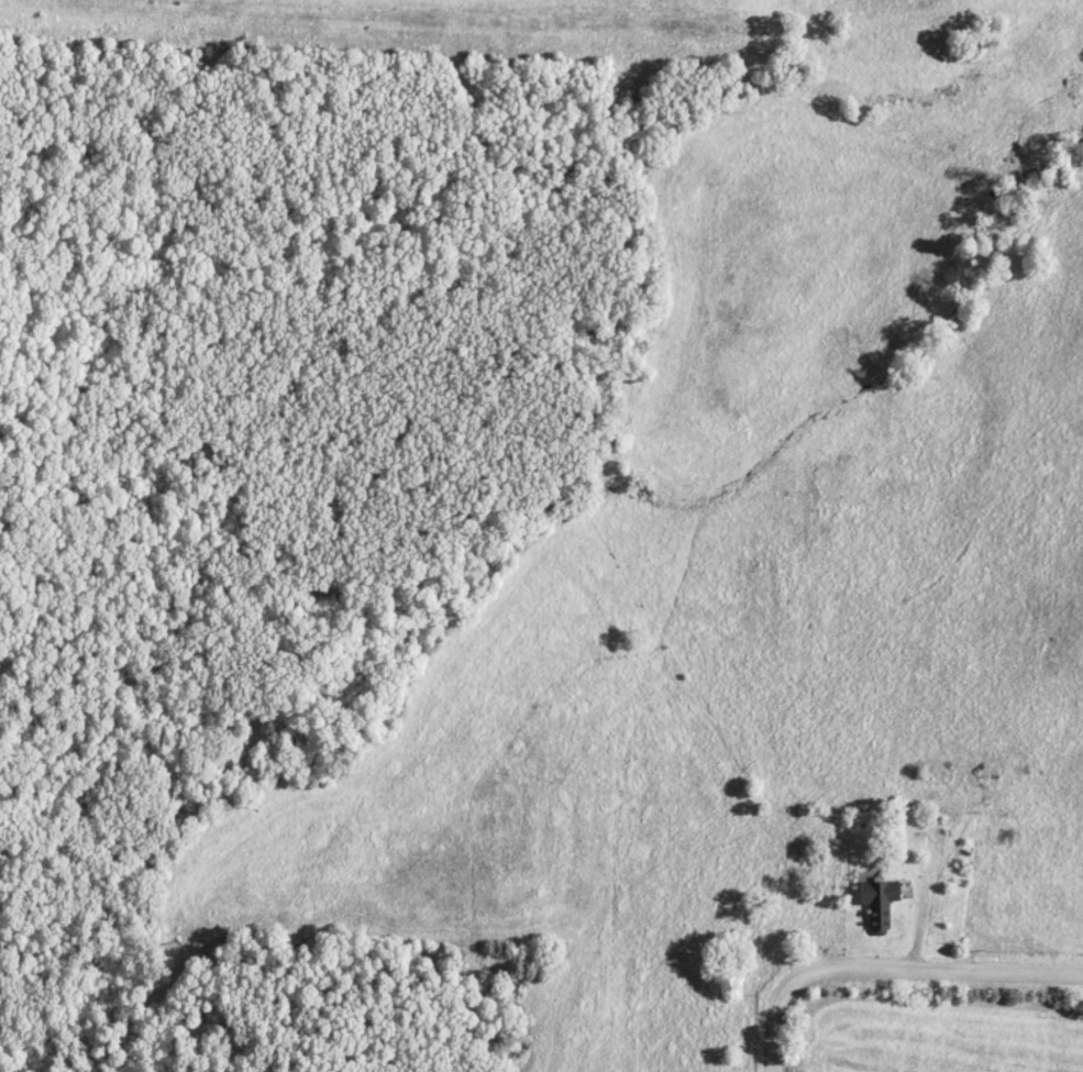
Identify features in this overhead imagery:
road: (919, 908)
road: (888, 972)

